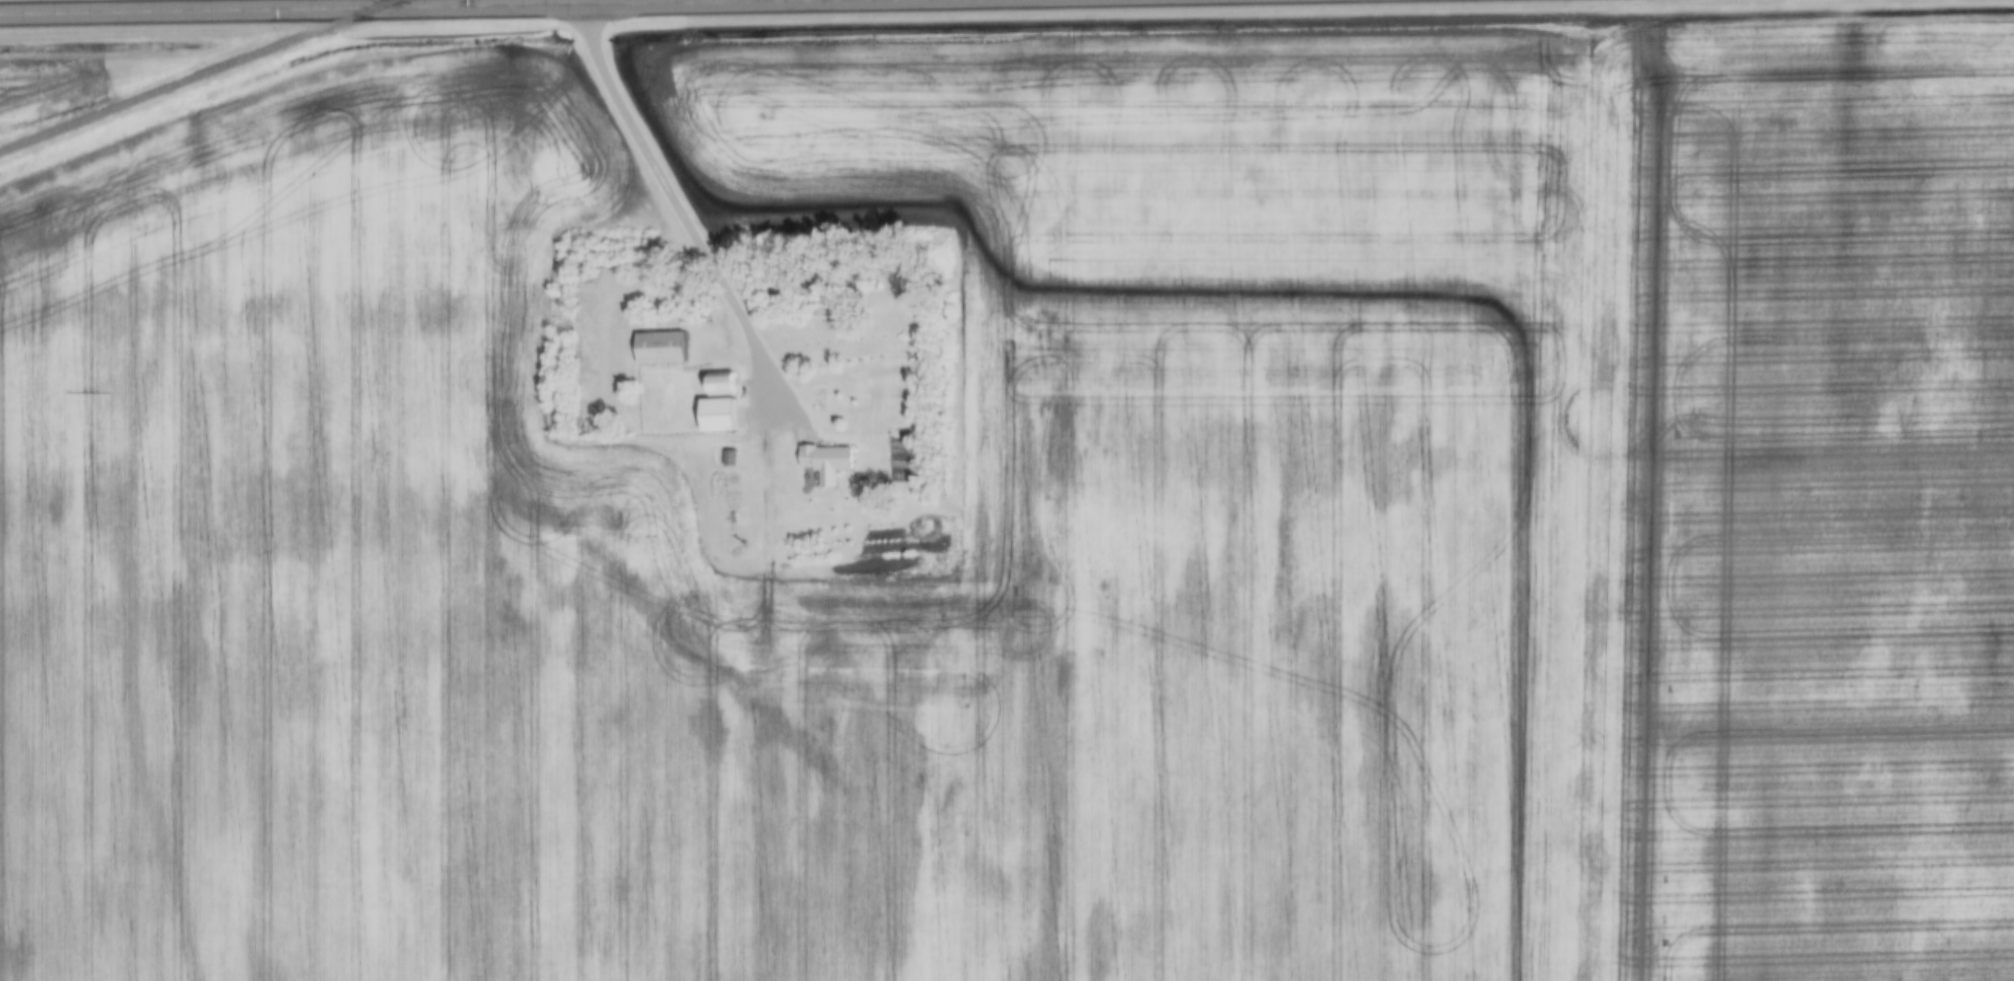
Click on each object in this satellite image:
road: (353, 8)
railway: (197, 76)
road: (683, 211)
building: (665, 348)
building: (724, 404)
building: (829, 458)

